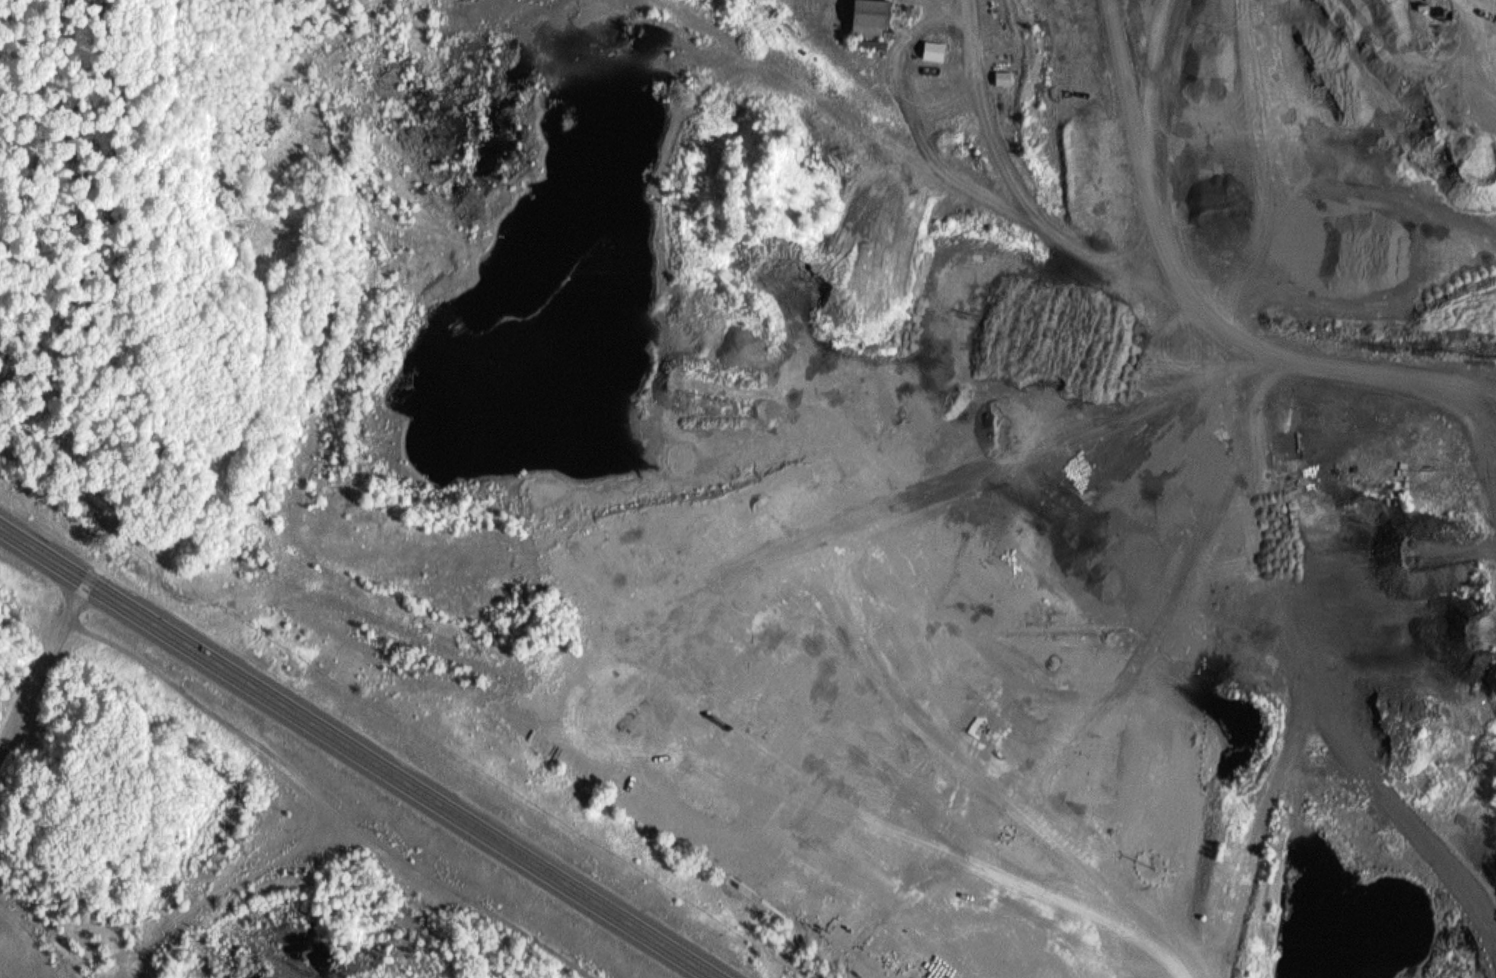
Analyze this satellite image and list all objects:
building: (864, 18)
building: (932, 51)
road: (1206, 95)
road: (1360, 233)
road: (1204, 291)
road: (1493, 378)
road: (45, 550)
road: (45, 688)
road: (399, 778)

